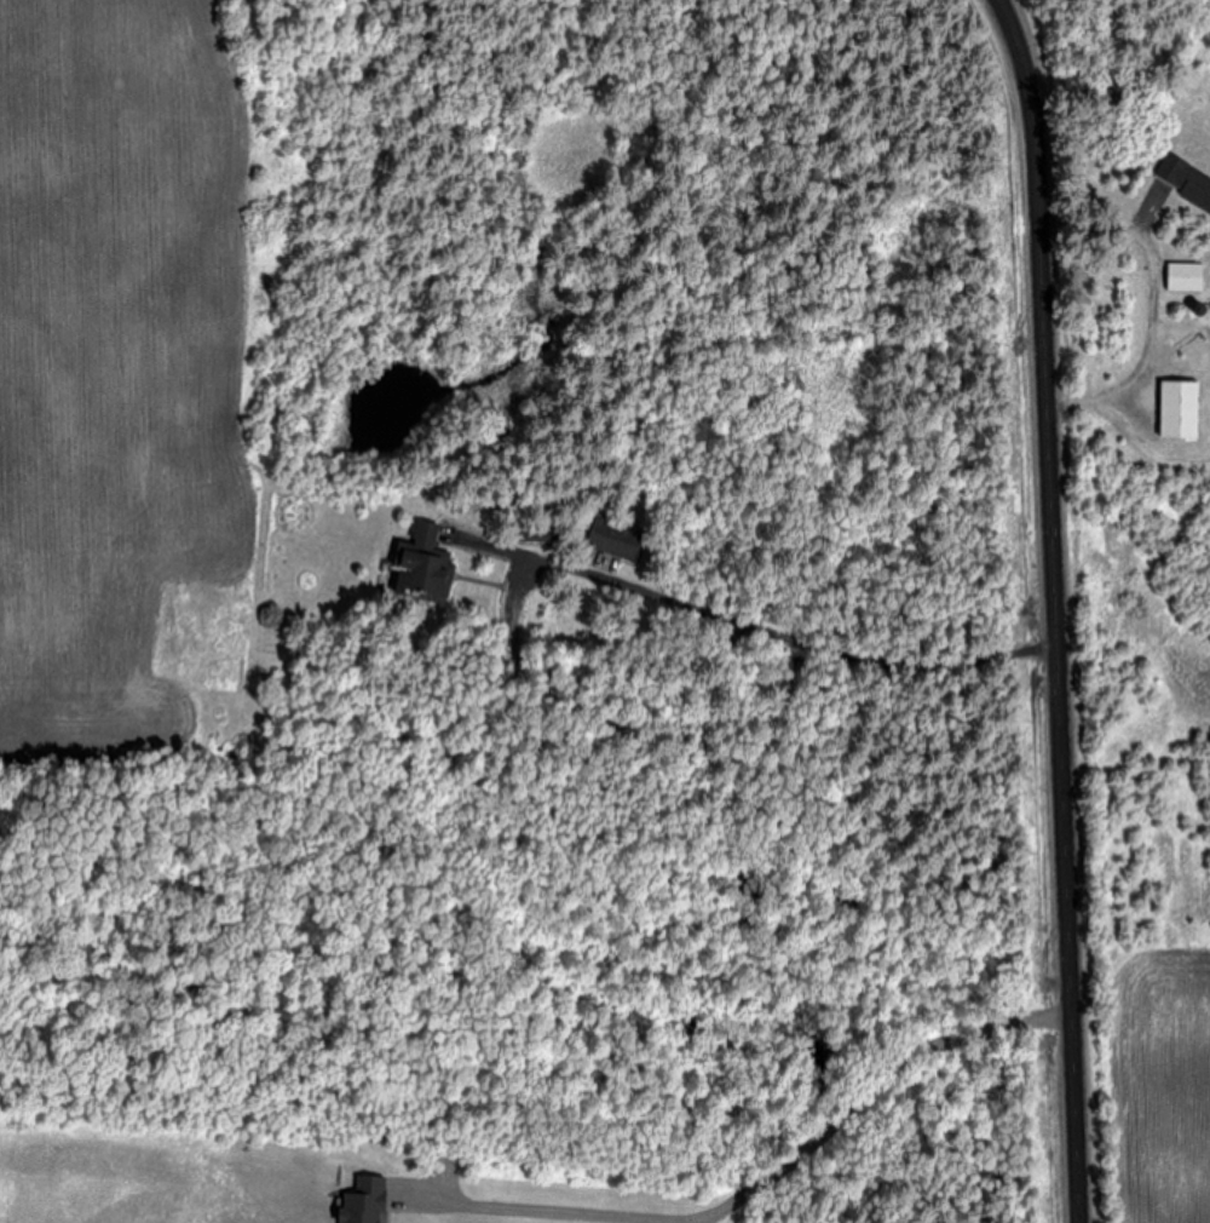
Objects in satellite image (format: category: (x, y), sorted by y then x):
building: (1185, 180)
building: (1186, 277)
building: (1180, 409)
building: (616, 540)
building: (423, 565)
road: (1050, 608)

